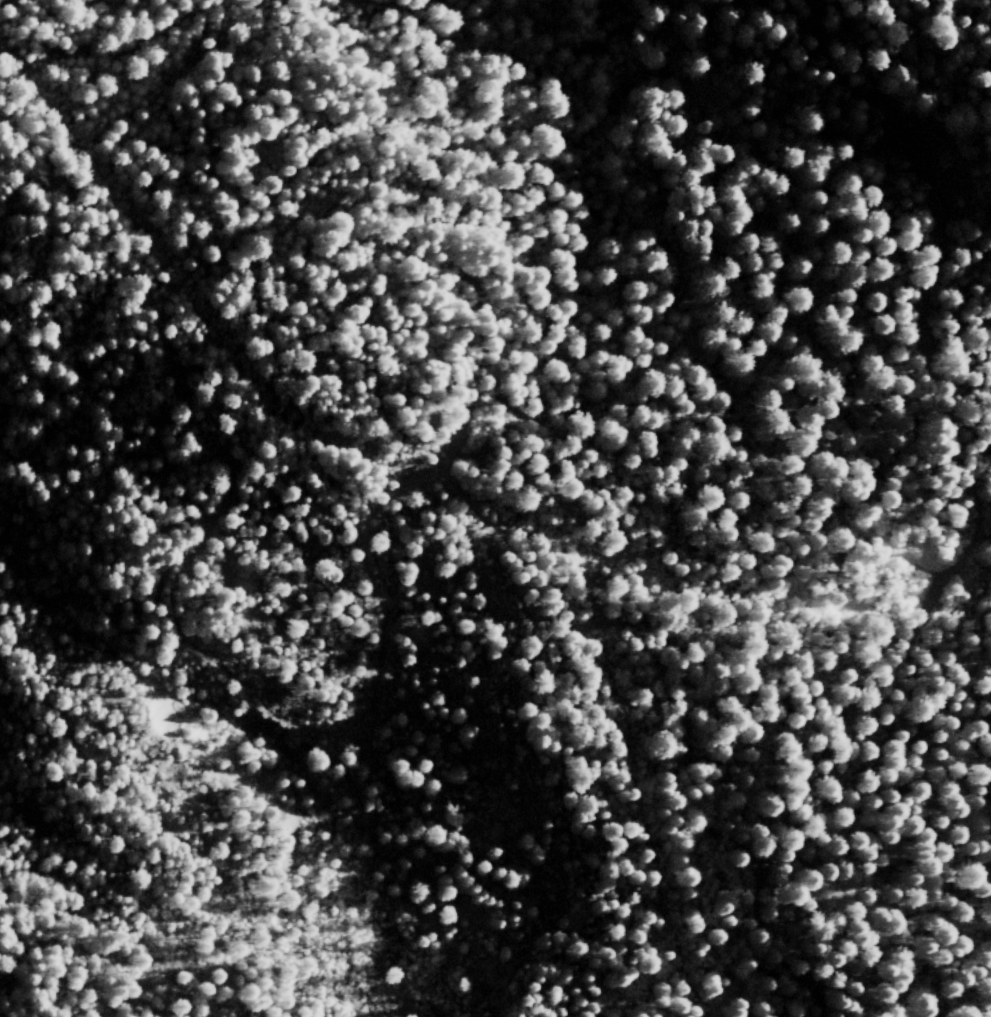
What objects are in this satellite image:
road: (980, 517)

